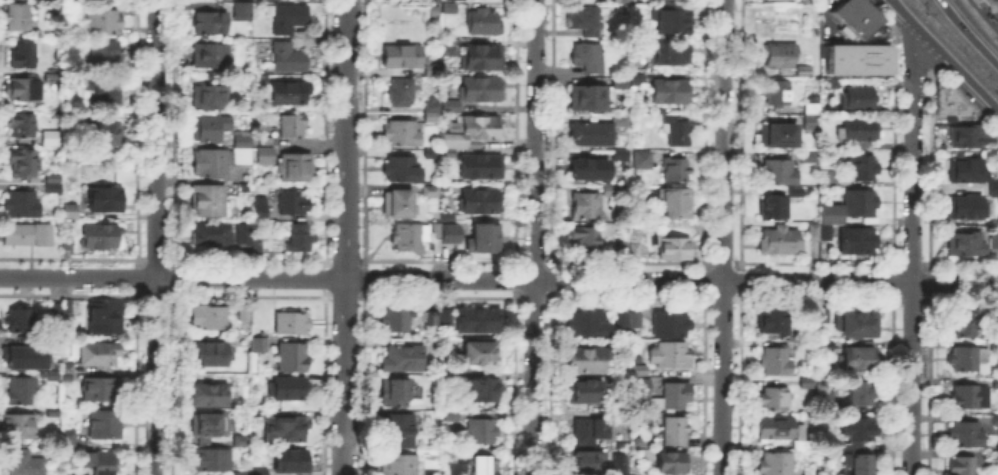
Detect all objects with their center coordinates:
building: (620, 0)
building: (991, 4)
building: (447, 6)
building: (432, 8)
building: (240, 9)
building: (56, 12)
road: (983, 15)
building: (18, 17)
building: (854, 17)
building: (290, 18)
building: (101, 19)
building: (673, 20)
building: (208, 21)
building: (587, 21)
building: (484, 22)
road: (978, 23)
road: (968, 33)
railway: (959, 40)
railway: (952, 47)
road: (912, 50)
building: (673, 54)
road: (945, 54)
building: (24, 55)
building: (105, 55)
building: (477, 55)
building: (211, 56)
building: (403, 57)
building: (589, 57)
building: (856, 58)
building: (289, 59)
building: (779, 60)
building: (805, 71)
building: (431, 72)
building: (54, 78)
building: (638, 80)
building: (260, 81)
building: (618, 82)
building: (833, 85)
building: (24, 89)
building: (481, 90)
building: (401, 91)
building: (670, 91)
building: (106, 92)
building: (778, 92)
building: (289, 93)
building: (590, 97)
building: (811, 97)
building: (209, 98)
building: (858, 98)
building: (944, 98)
road: (965, 103)
building: (452, 107)
building: (809, 107)
building: (433, 116)
building: (809, 121)
building: (24, 125)
building: (293, 126)
road: (171, 129)
building: (207, 129)
road: (323, 129)
road: (363, 129)
building: (676, 129)
building: (860, 130)
building: (597, 132)
building: (964, 132)
building: (403, 133)
building: (776, 133)
building: (106, 134)
building: (469, 134)
building: (53, 139)
building: (267, 142)
building: (433, 154)
building: (267, 156)
building: (621, 156)
road: (913, 156)
building: (809, 157)
building: (223, 158)
building: (643, 160)
building: (23, 163)
building: (859, 164)
road: (929, 166)
building: (295, 167)
building: (482, 167)
building: (962, 167)
building: (402, 169)
building: (588, 170)
building: (677, 170)
building: (780, 172)
building: (830, 179)
building: (54, 184)
building: (992, 184)
building: (242, 186)
building: (610, 191)
building: (431, 192)
building: (796, 193)
road: (135, 196)
building: (105, 200)
building: (209, 201)
building: (480, 201)
building: (293, 202)
building: (677, 202)
building: (860, 203)
building: (963, 203)
building: (21, 204)
building: (398, 205)
building: (585, 205)
road: (515, 206)
building: (774, 207)
building: (260, 209)
building: (70, 212)
building: (832, 215)
building: (444, 230)
building: (208, 231)
building: (240, 232)
building: (821, 232)
building: (28, 235)
building: (101, 236)
building: (992, 236)
road: (155, 237)
road: (345, 237)
building: (410, 237)
road: (535, 237)
road: (723, 237)
building: (300, 238)
building: (587, 238)
building: (483, 239)
building: (858, 240)
building: (962, 240)
building: (781, 241)
building: (254, 245)
building: (66, 246)
building: (674, 248)
building: (621, 249)
building: (636, 251)
road: (153, 258)
road: (247, 258)
road: (343, 259)
road: (534, 260)
road: (171, 261)
road: (628, 261)
road: (722, 261)
road: (135, 262)
road: (821, 262)
road: (910, 263)
road: (963, 263)
road: (135, 277)
road: (171, 277)
road: (323, 277)
road: (363, 277)
road: (515, 278)
road: (552, 278)
road: (498, 279)
road: (892, 280)
road: (929, 281)
road: (136, 291)
road: (171, 292)
road: (139, 295)
road: (154, 295)
road: (168, 295)
road: (247, 295)
road: (344, 296)
road: (627, 296)
road: (722, 296)
road: (533, 297)
road: (816, 297)
road: (910, 298)
building: (67, 307)
road: (363, 310)
building: (53, 311)
building: (245, 313)
road: (135, 317)
building: (210, 317)
building: (106, 318)
building: (447, 318)
building: (397, 320)
building: (433, 320)
building: (637, 320)
building: (961, 320)
building: (20, 321)
building: (479, 321)
building: (622, 321)
building: (819, 322)
building: (292, 323)
building: (774, 323)
building: (590, 324)
building: (671, 324)
building: (860, 325)
building: (260, 345)
building: (619, 346)
building: (827, 346)
road: (928, 352)
building: (212, 353)
building: (100, 354)
building: (483, 354)
building: (960, 354)
building: (23, 355)
building: (671, 355)
building: (403, 357)
building: (293, 358)
building: (860, 359)
building: (588, 361)
building: (777, 362)
building: (69, 368)
building: (640, 371)
building: (54, 376)
building: (450, 376)
road: (911, 379)
building: (994, 379)
building: (808, 382)
road: (170, 385)
road: (323, 385)
road: (550, 385)
road: (703, 385)
road: (739, 385)
road: (514, 386)
road: (891, 386)
building: (291, 388)
building: (641, 388)
building: (102, 390)
building: (484, 390)
building: (22, 391)
building: (396, 392)
building: (966, 392)
building: (584, 393)
building: (861, 394)
building: (210, 396)
building: (672, 397)
building: (775, 399)
building: (827, 400)
building: (452, 416)
building: (994, 416)
building: (105, 425)
building: (18, 426)
building: (208, 426)
building: (283, 427)
building: (776, 428)
building: (398, 431)
building: (483, 431)
building: (675, 431)
building: (590, 432)
building: (964, 432)
building: (857, 433)
building: (242, 441)
building: (70, 442)
building: (992, 457)
building: (292, 461)
building: (213, 462)
building: (411, 462)
building: (588, 462)
building: (667, 462)
building: (855, 462)
building: (25, 464)
building: (104, 464)
building: (777, 464)
building: (957, 464)
building: (486, 466)
building: (809, 471)
building: (260, 472)
building: (617, 473)
building: (633, 474)

